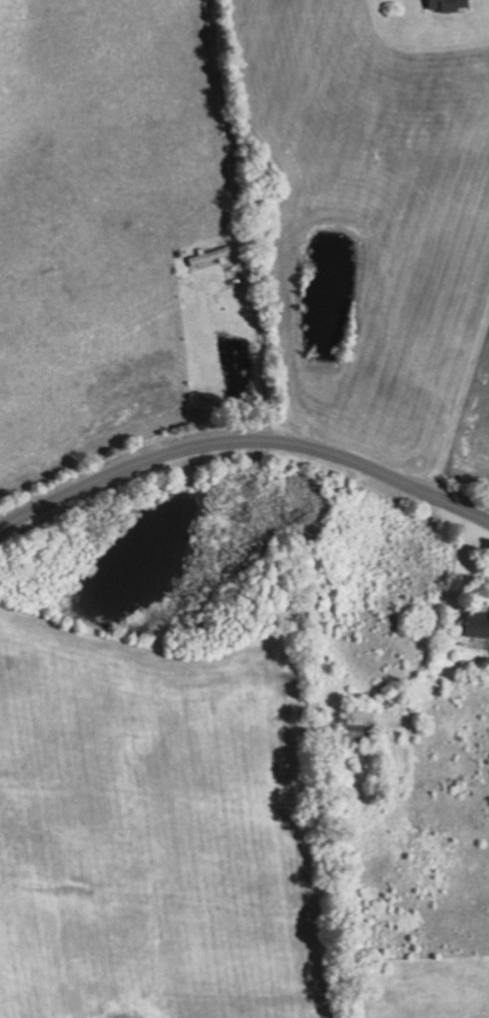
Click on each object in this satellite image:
building: (450, 5)
building: (213, 256)
road: (459, 406)
road: (243, 445)
building: (479, 625)

